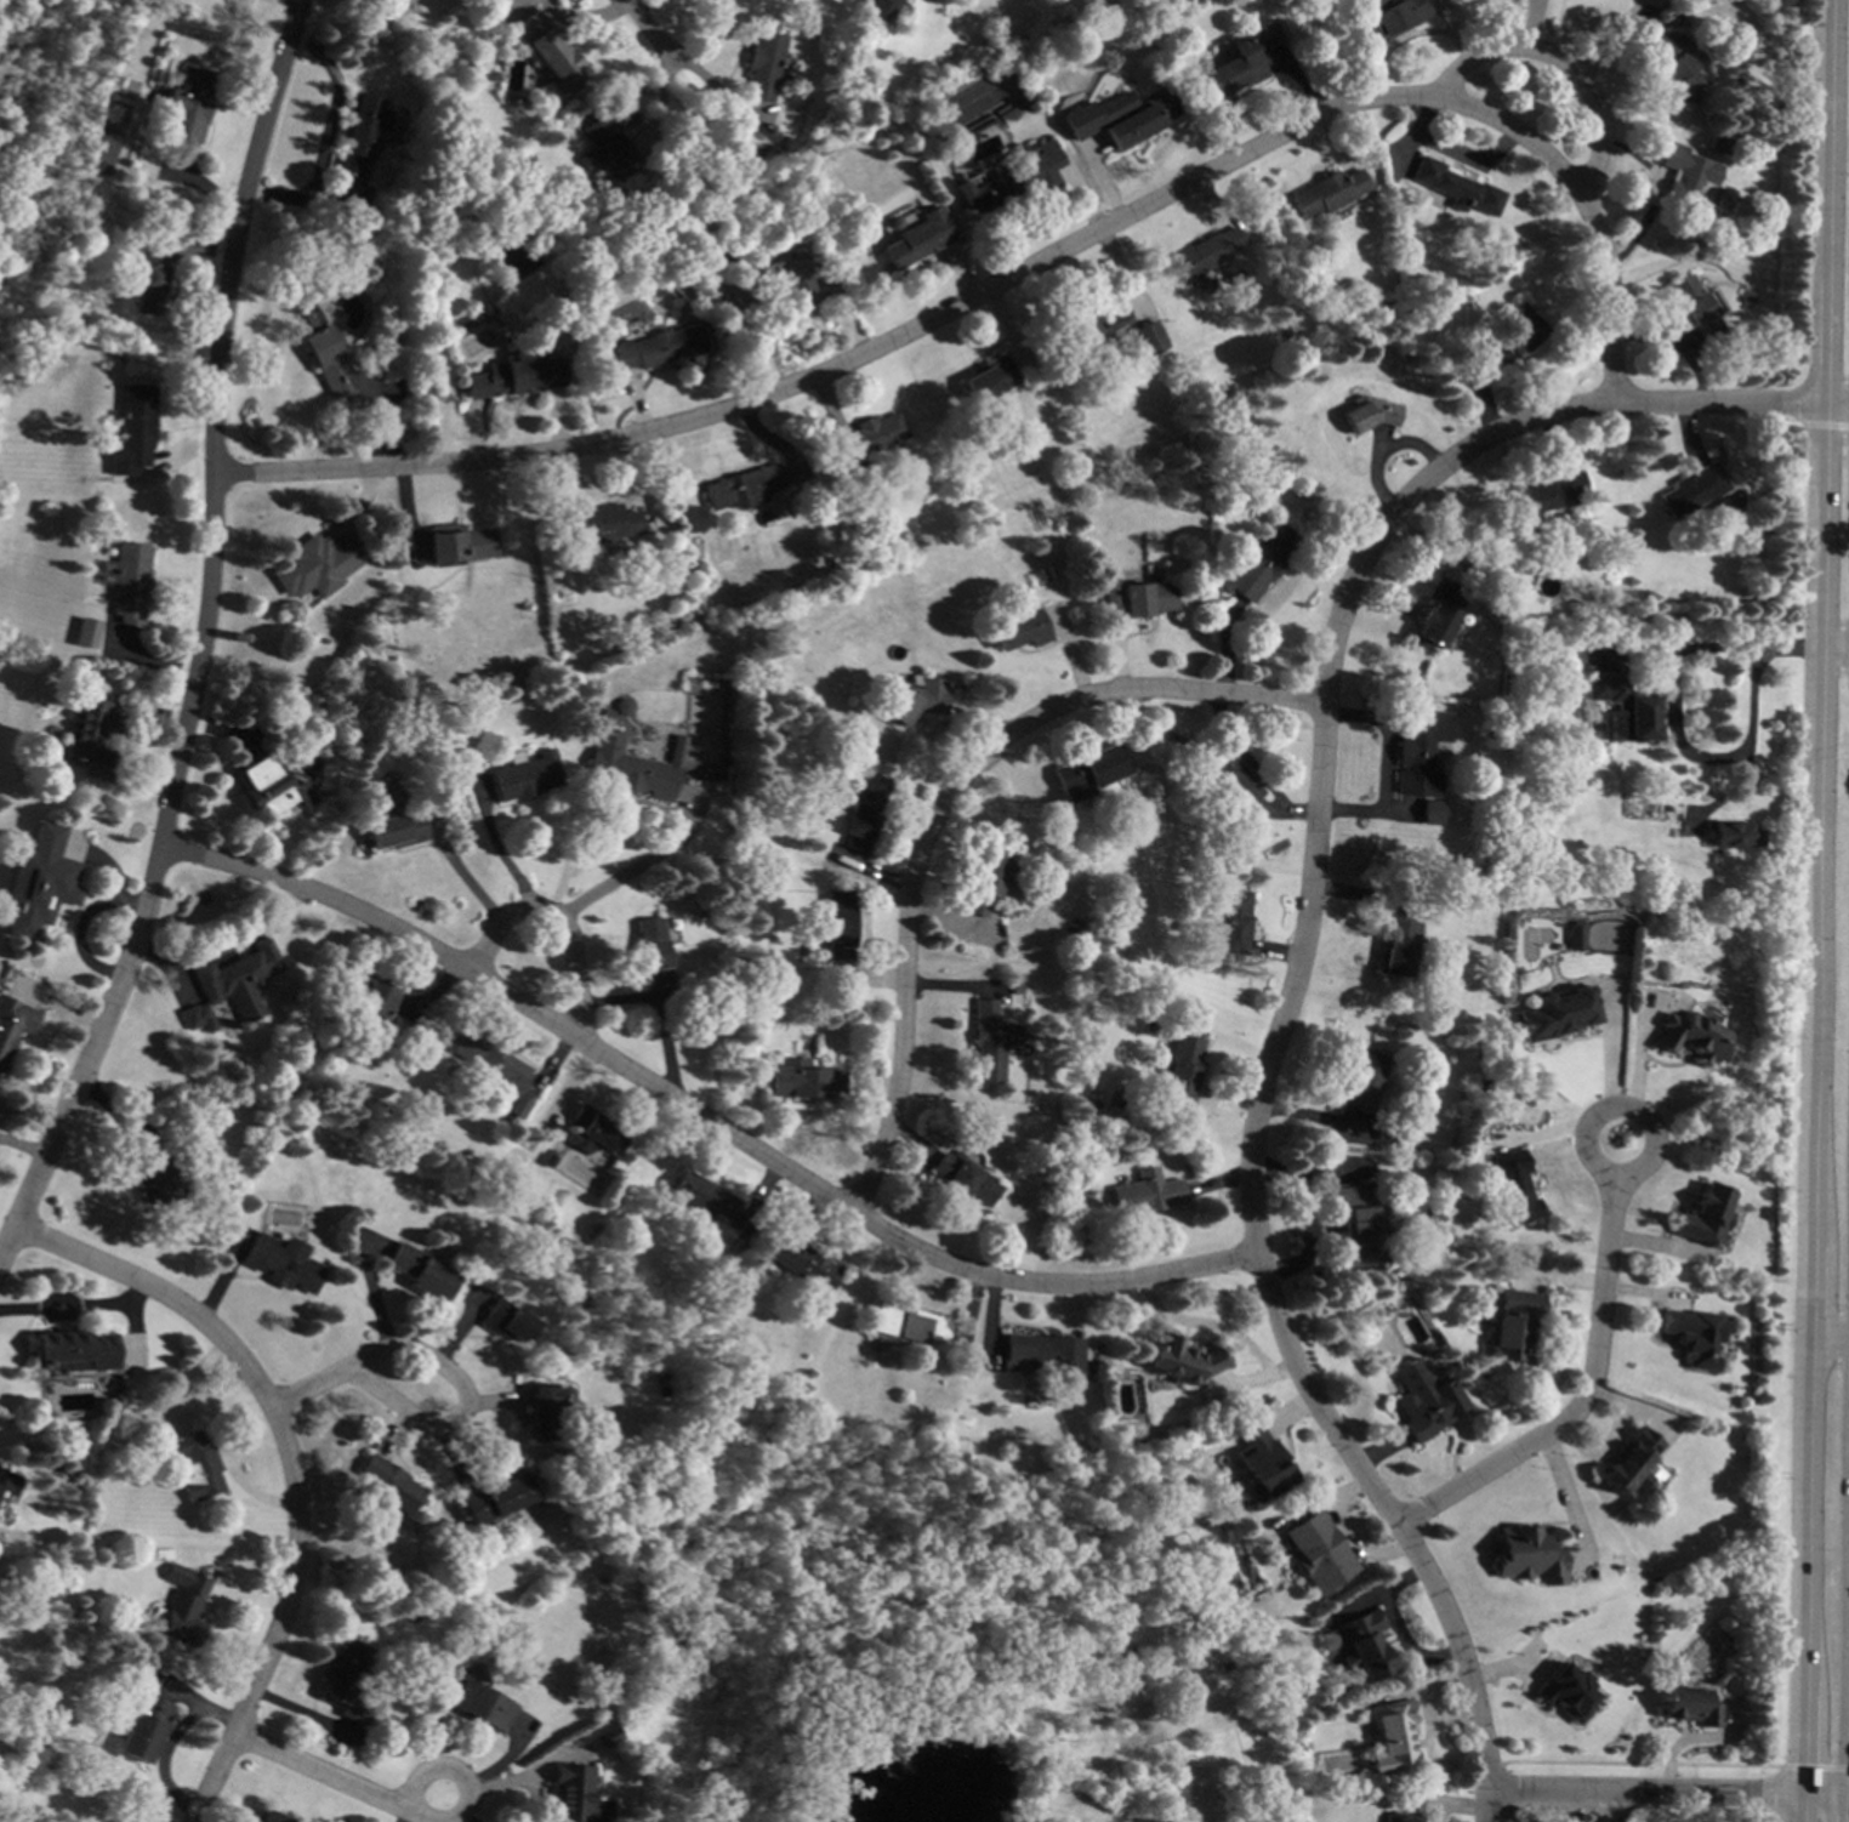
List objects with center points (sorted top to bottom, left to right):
building: (883, 7)
building: (1392, 15)
road: (643, 28)
building: (548, 51)
building: (1238, 62)
building: (766, 66)
road: (1566, 66)
building: (1676, 66)
building: (546, 93)
building: (1735, 103)
building: (187, 106)
park: (47, 116)
building: (1120, 120)
building: (608, 142)
building: (1718, 146)
building: (357, 154)
building: (93, 166)
building: (1684, 177)
building: (1012, 181)
building: (1455, 188)
building: (1326, 193)
building: (891, 223)
building: (917, 239)
building: (722, 254)
building: (1205, 254)
building: (508, 261)
road: (1019, 272)
building: (149, 279)
building: (597, 284)
building: (768, 284)
building: (317, 295)
building: (1745, 297)
building: (1692, 306)
building: (1088, 328)
building: (1286, 336)
building: (1513, 337)
building: (1148, 338)
building: (656, 347)
building: (332, 363)
building: (514, 375)
building: (988, 378)
building: (1370, 412)
road: (1824, 426)
building: (131, 431)
building: (867, 442)
building: (741, 488)
building: (1690, 490)
building: (1230, 492)
building: (1544, 492)
building: (1733, 502)
building: (604, 523)
building: (460, 543)
building: (314, 559)
building: (1257, 564)
building: (127, 582)
building: (1515, 594)
building: (1134, 599)
building: (84, 604)
building: (1438, 614)
building: (1018, 630)
building: (84, 634)
road: (1332, 634)
road: (190, 645)
building: (1449, 647)
building: (1500, 651)
road: (1832, 653)
building: (911, 704)
building: (1621, 710)
building: (604, 712)
road: (1672, 717)
building: (633, 736)
building: (87, 739)
building: (1417, 751)
building: (631, 767)
building: (1086, 773)
building: (523, 776)
building: (1229, 778)
building: (272, 787)
road: (937, 803)
building: (861, 813)
building: (1429, 813)
building: (397, 830)
building: (1731, 835)
road: (504, 860)
road: (630, 875)
road: (468, 878)
building: (988, 881)
building: (67, 889)
road: (1811, 910)
road: (505, 917)
building: (1229, 921)
building: (837, 926)
building: (1575, 932)
road: (222, 946)
building: (1394, 946)
building: (650, 952)
building: (239, 979)
road: (573, 980)
building: (1017, 991)
building: (366, 993)
building: (1555, 1014)
building: (197, 1018)
building: (12, 1021)
building: (1690, 1037)
building: (991, 1042)
building: (405, 1058)
building: (487, 1059)
road: (1610, 1066)
building: (1, 1067)
building: (1179, 1075)
road: (1637, 1076)
building: (1362, 1078)
building: (800, 1080)
building: (517, 1106)
road: (699, 1114)
building: (1386, 1129)
building: (593, 1132)
building: (547, 1160)
building: (157, 1174)
building: (967, 1178)
building: (1512, 1188)
building: (1148, 1192)
building: (700, 1197)
building: (1702, 1217)
building: (1356, 1226)
building: (801, 1262)
building: (283, 1263)
building: (421, 1271)
road: (161, 1297)
road: (73, 1308)
building: (507, 1322)
building: (908, 1325)
building: (1509, 1326)
building: (1690, 1336)
road: (1826, 1342)
building: (74, 1350)
building: (1045, 1357)
building: (1178, 1359)
road: (1582, 1378)
building: (658, 1379)
road: (312, 1384)
building: (785, 1397)
building: (1420, 1400)
building: (544, 1408)
road: (451, 1427)
building: (986, 1454)
building: (1255, 1462)
building: (1626, 1464)
building: (194, 1467)
building: (6, 1485)
building: (387, 1486)
building: (493, 1497)
road: (1557, 1501)
road: (1394, 1515)
building: (411, 1527)
building: (1312, 1553)
building: (1523, 1555)
building: (181, 1612)
road: (280, 1618)
park: (954, 1638)
building: (1320, 1641)
building: (1358, 1646)
building: (1224, 1666)
road: (1847, 1668)
building: (345, 1680)
building: (1561, 1693)
building: (480, 1706)
building: (1686, 1706)
building: (24, 1726)
building: (142, 1729)
building: (605, 1737)
building: (1388, 1738)
road: (166, 1741)
road: (1813, 1767)
road: (335, 1782)
road: (506, 1783)
building: (569, 1793)
road: (1665, 1795)
road: (1483, 1809)
road: (1844, 1809)
building: (267, 1817)
building: (1398, 1817)

